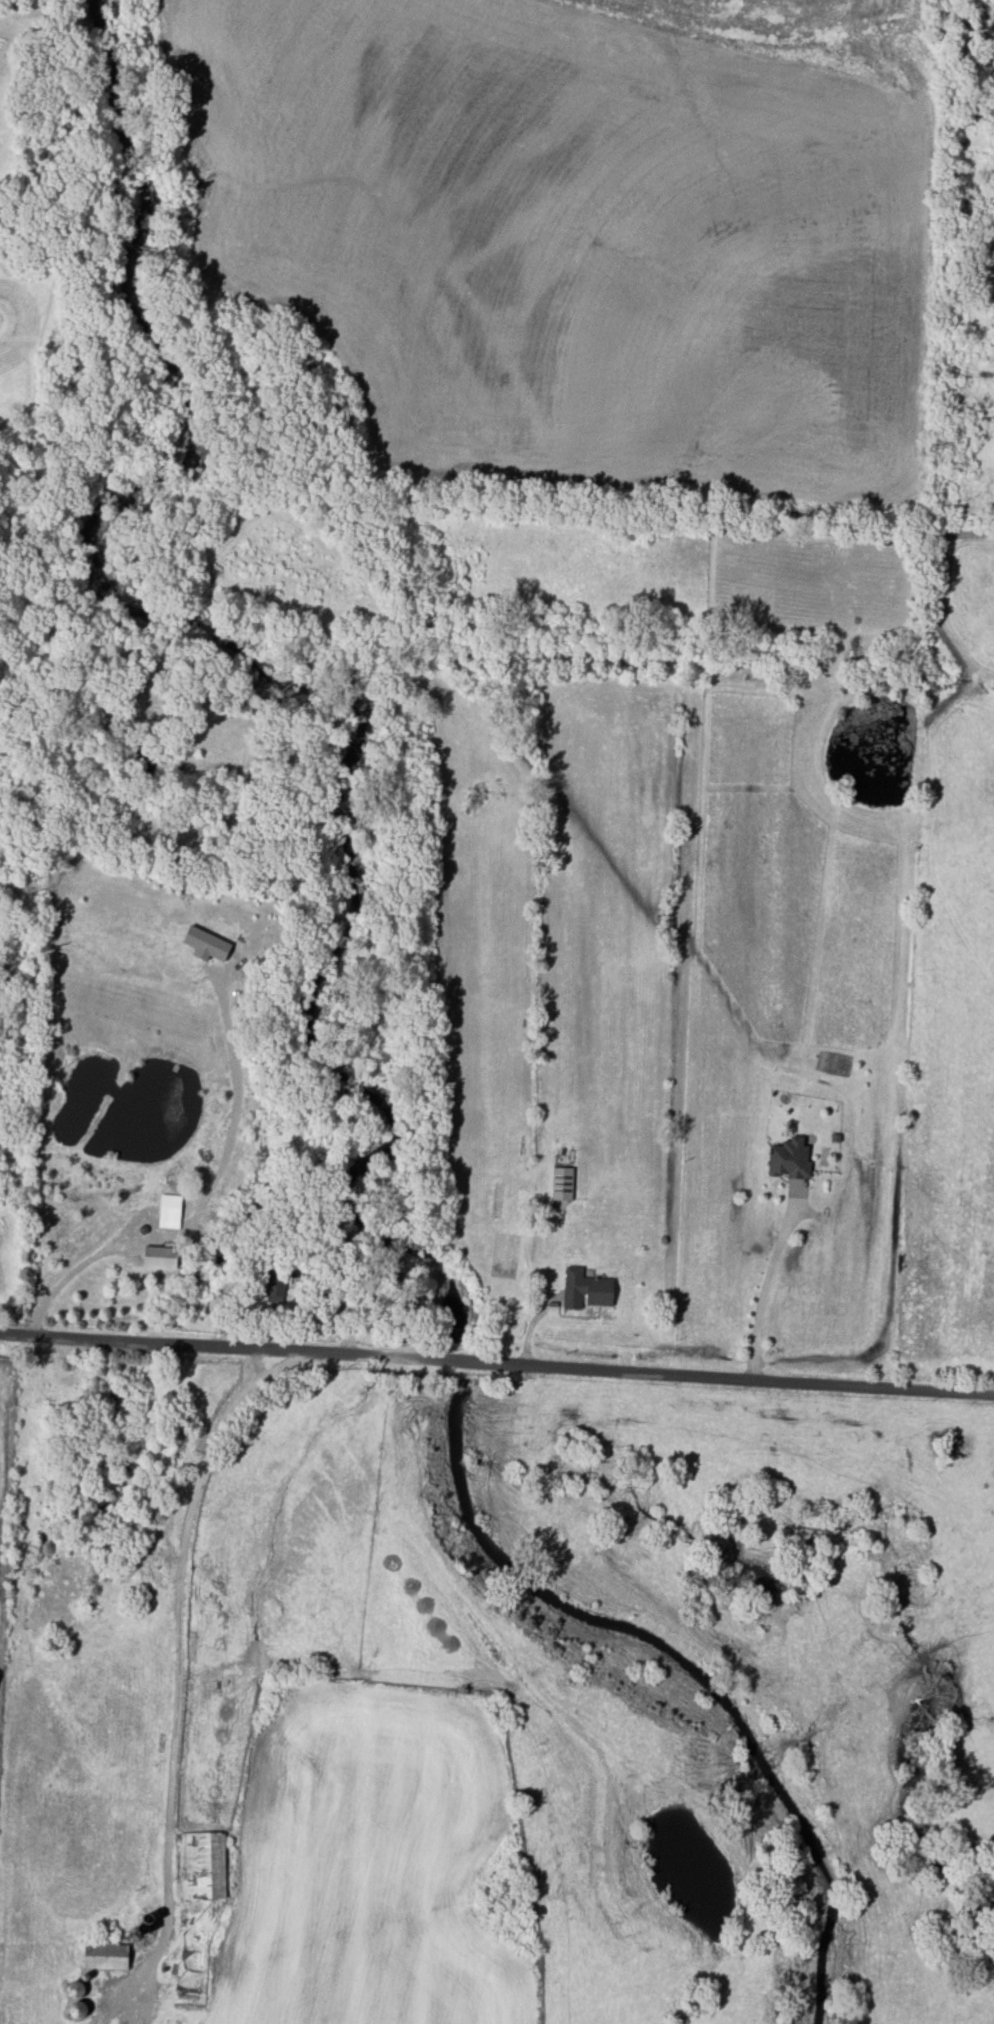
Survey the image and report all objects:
crop: (589, 231)
building: (206, 942)
building: (789, 1158)
building: (561, 1183)
road: (202, 1202)
building: (169, 1211)
building: (159, 1256)
road: (768, 1279)
building: (585, 1289)
road: (496, 1358)
road: (179, 1639)
crop: (372, 1858)
building: (105, 1956)

